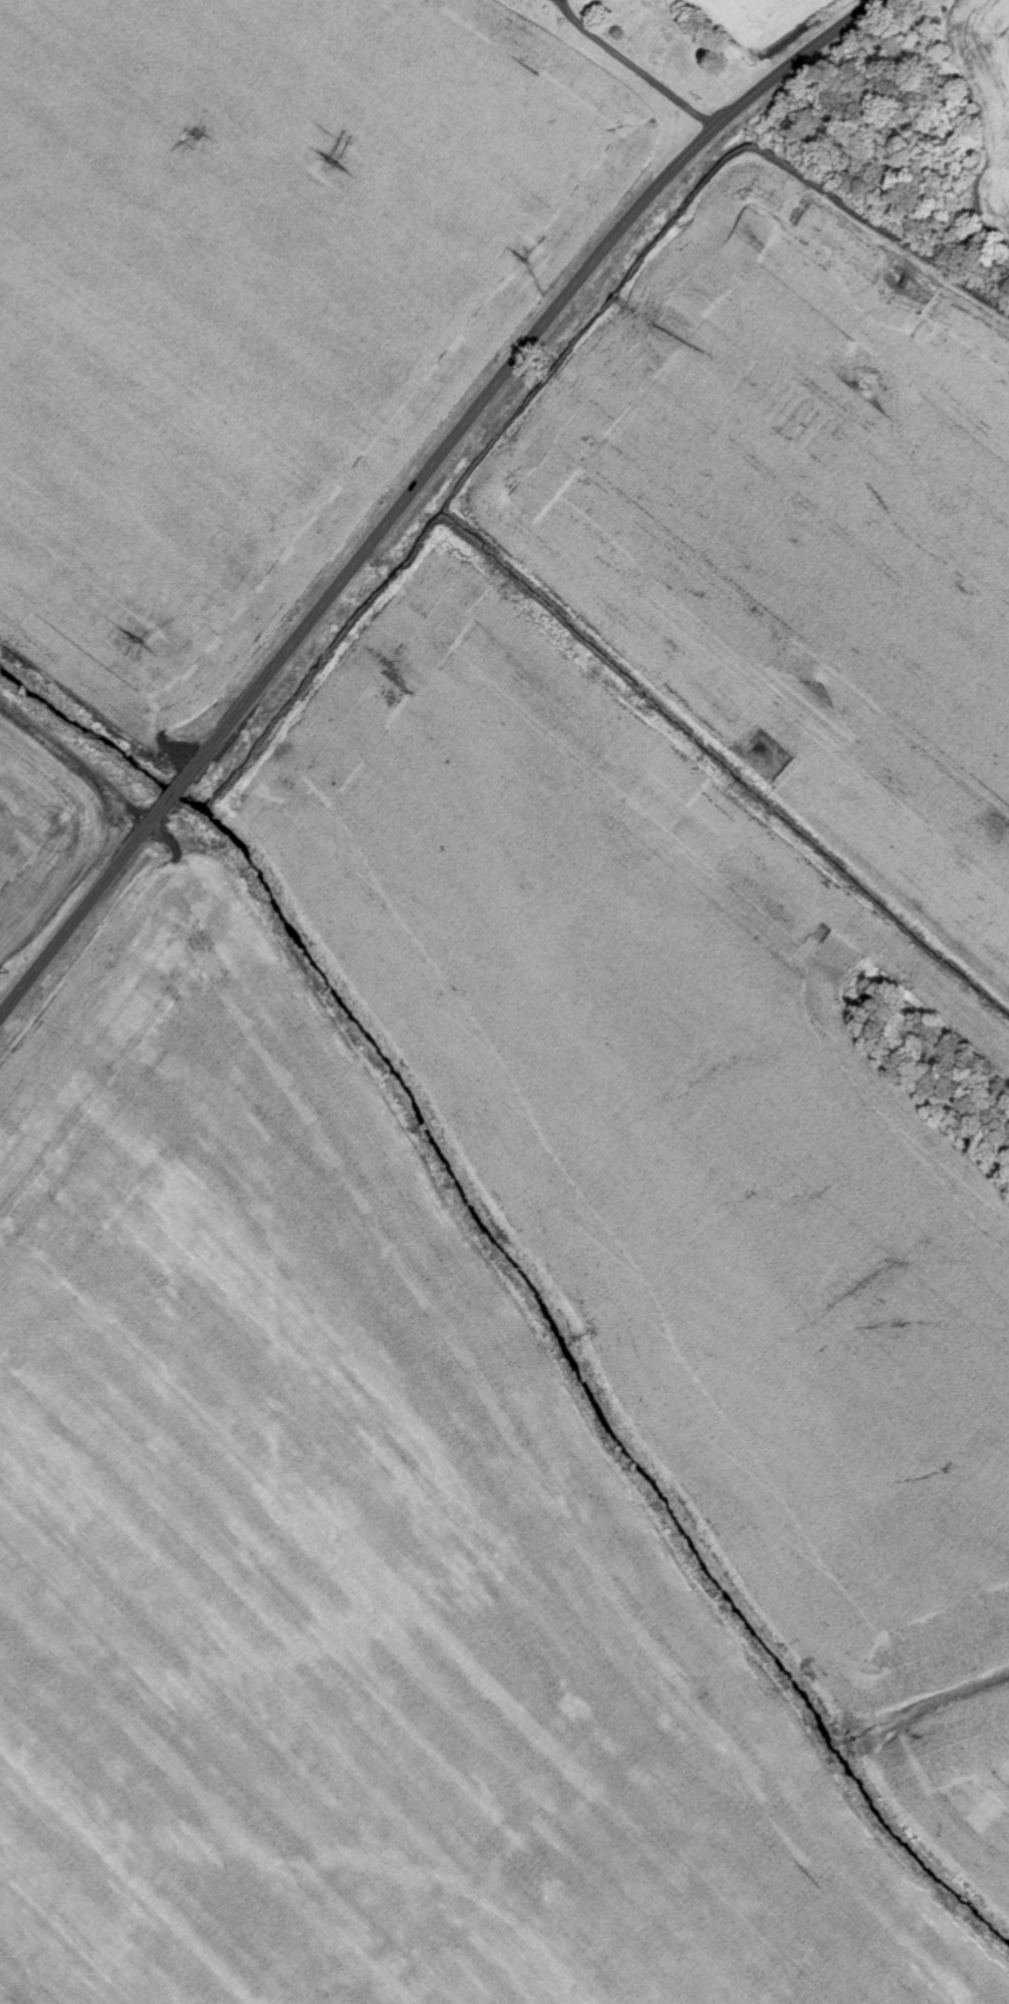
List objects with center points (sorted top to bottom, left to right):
road: (416, 486)
road: (83, 739)

